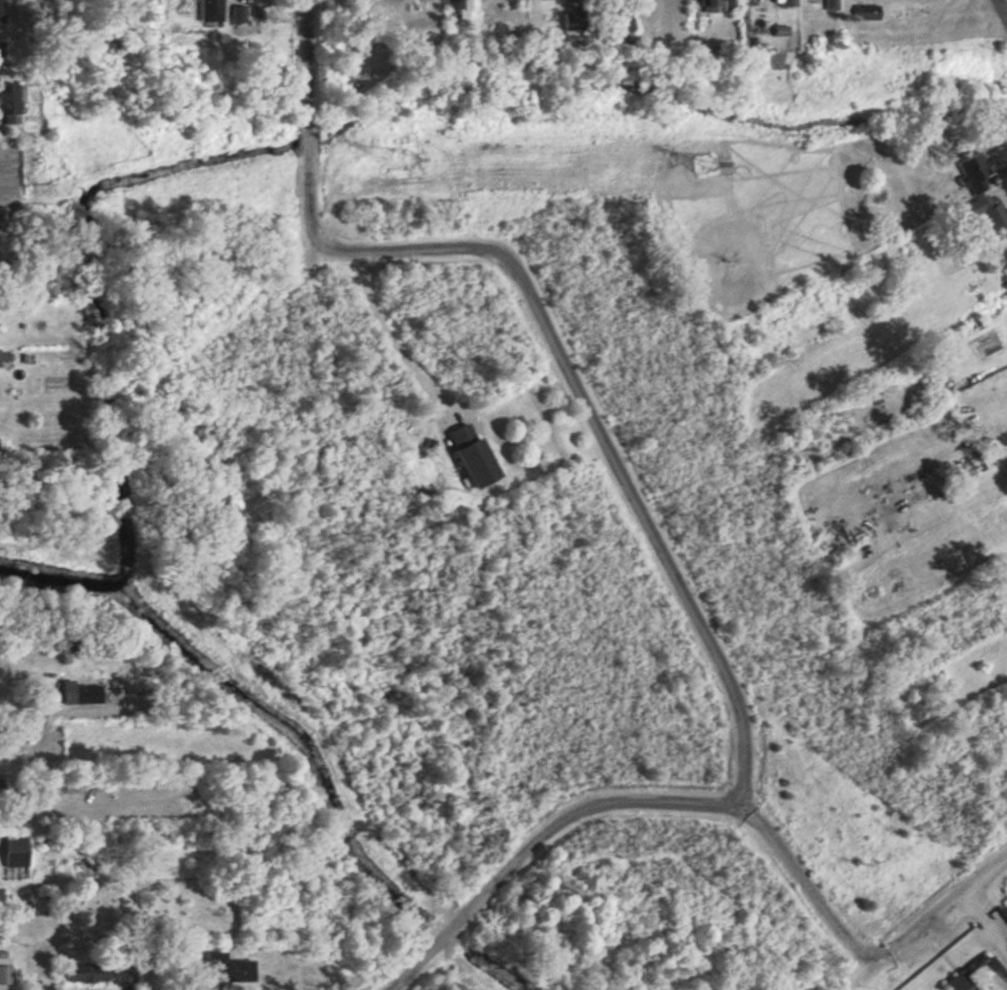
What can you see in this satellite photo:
building: (780, 2)
building: (449, 3)
building: (828, 4)
building: (706, 6)
road: (1003, 7)
building: (208, 9)
building: (864, 12)
building: (10, 102)
power tower: (394, 162)
power tower: (701, 162)
building: (971, 173)
building: (989, 213)
building: (1005, 265)
road: (548, 331)
building: (466, 455)
building: (75, 693)
road: (65, 711)
road: (718, 805)
building: (11, 853)
building: (0, 900)
building: (226, 968)
building: (81, 973)
building: (4, 976)
road: (862, 977)
building: (972, 978)
road: (396, 987)

